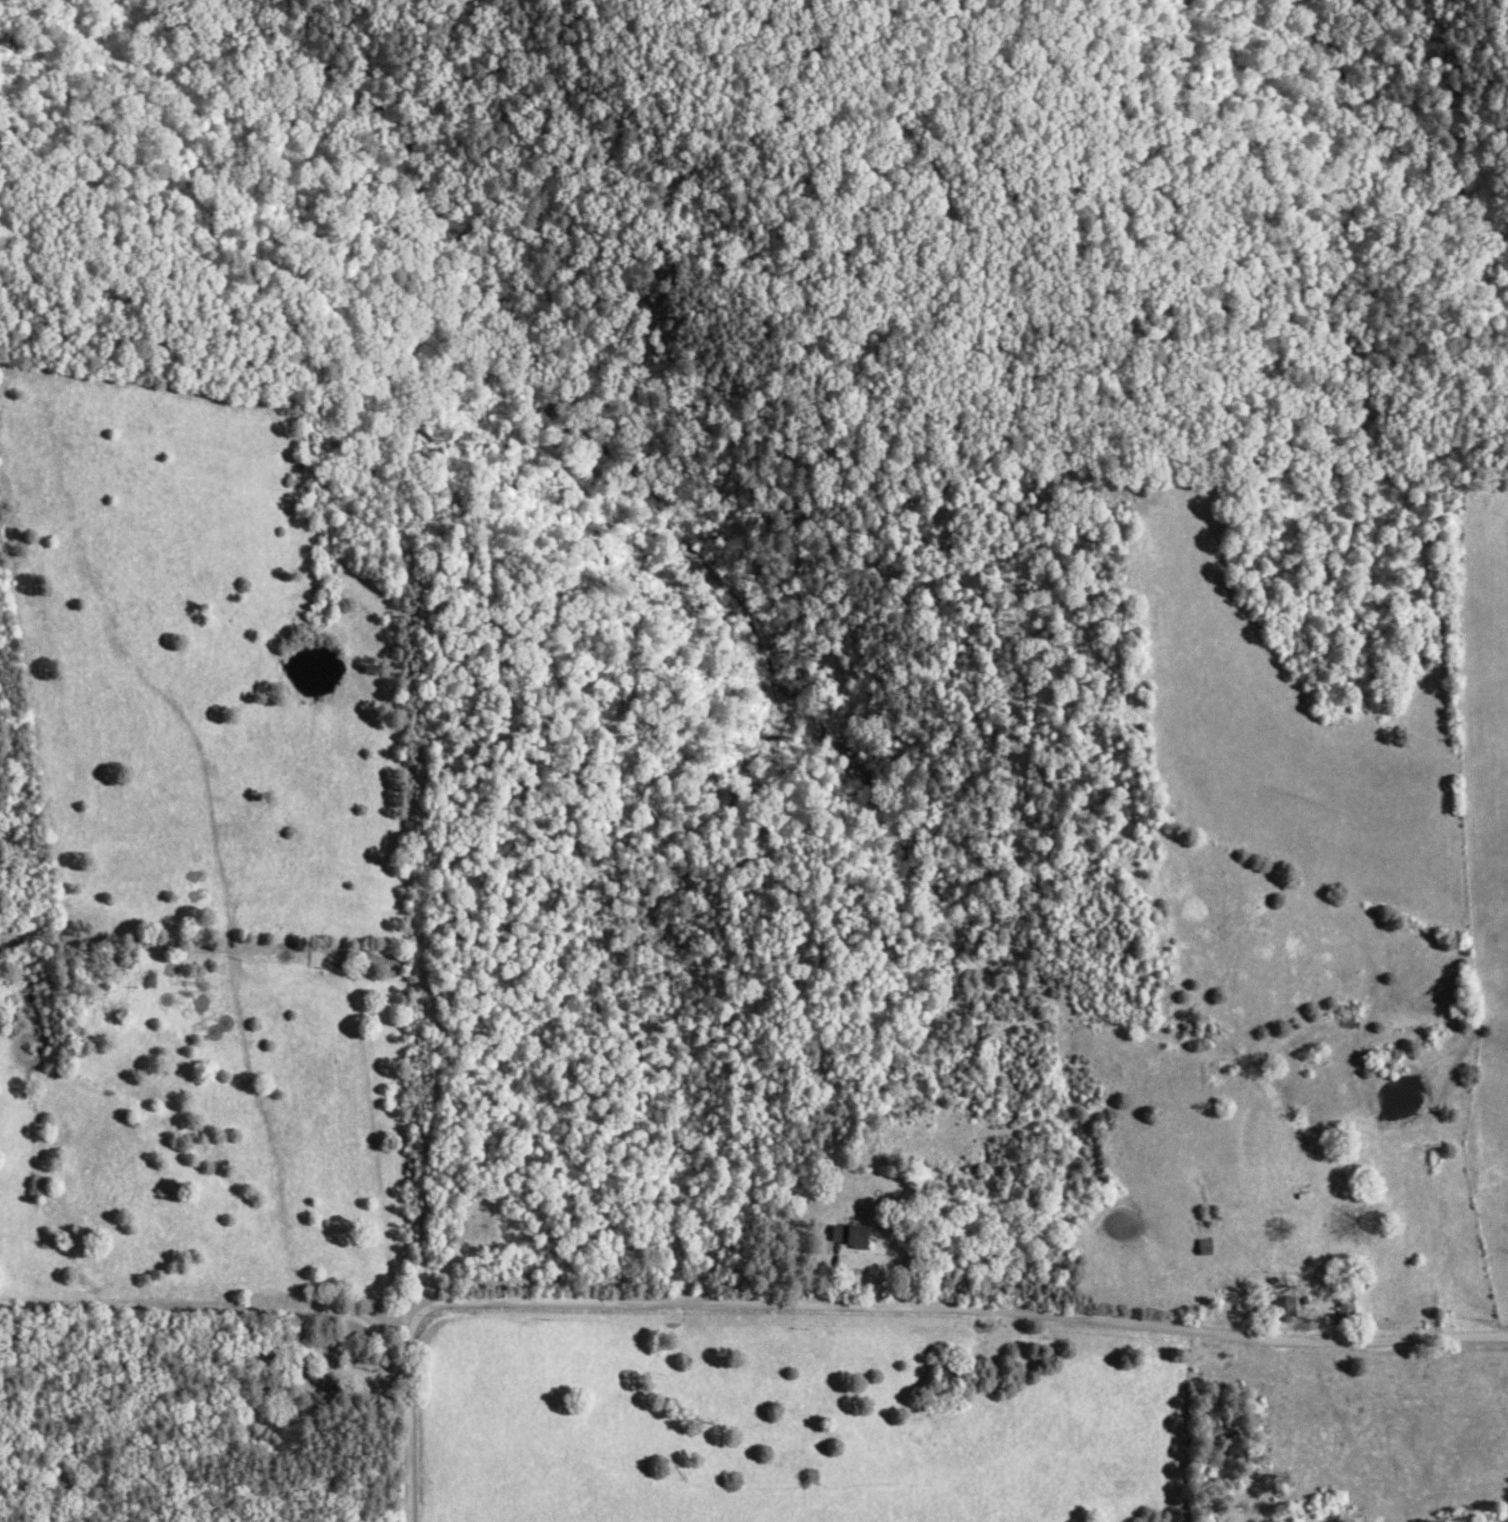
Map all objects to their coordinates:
road: (1437, 1247)
road: (1274, 1250)
road: (862, 1276)
road: (206, 1303)
road: (852, 1304)

